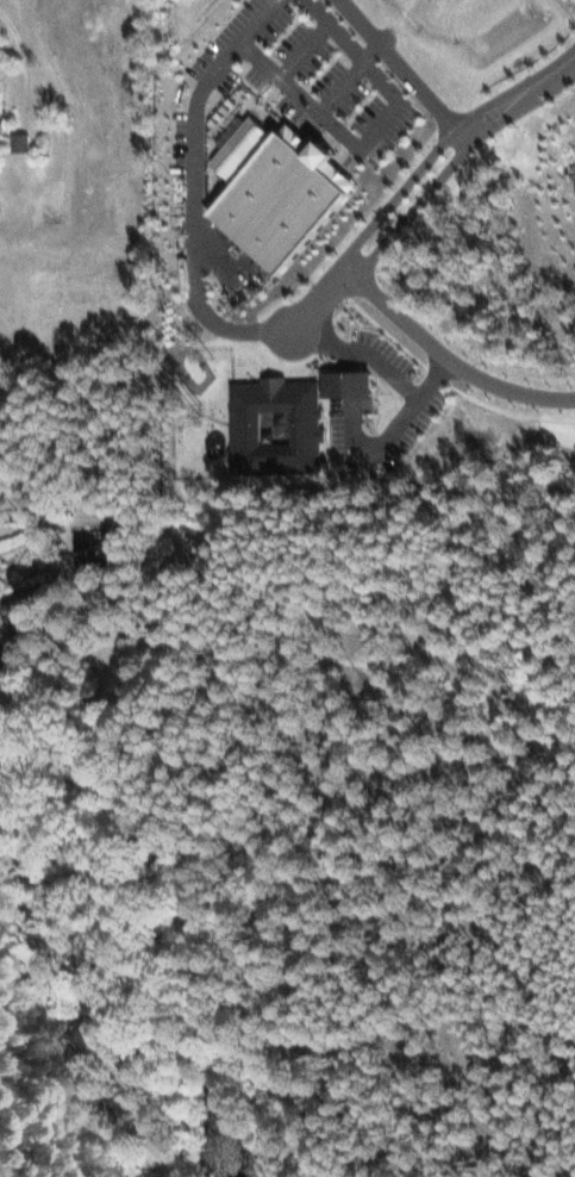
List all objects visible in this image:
road: (399, 62)
building: (1, 105)
road: (469, 131)
road: (446, 139)
building: (21, 141)
road: (451, 166)
building: (280, 189)
road: (193, 230)
road: (340, 263)
road: (446, 356)
building: (350, 382)
building: (279, 425)
road: (6, 668)
road: (177, 997)

